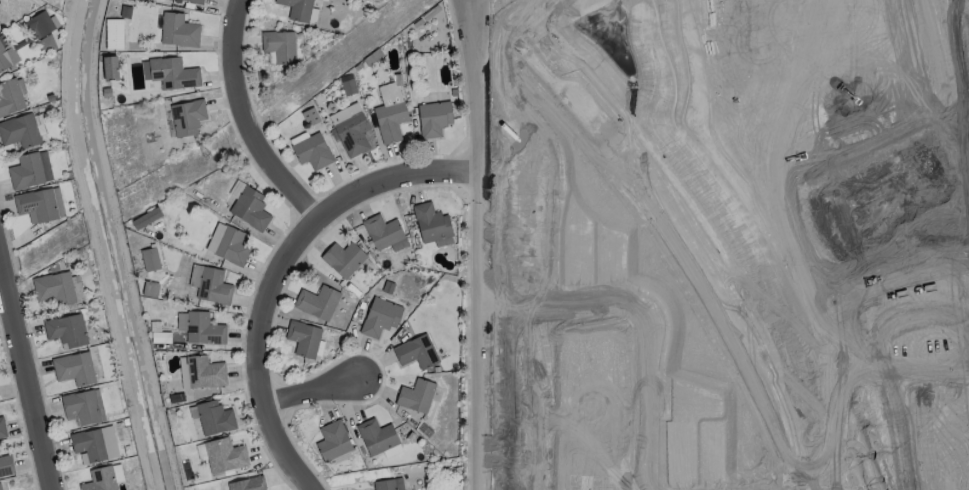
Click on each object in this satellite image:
building: (197, 0)
building: (297, 9)
road: (507, 12)
road: (521, 13)
building: (41, 24)
building: (178, 30)
building: (113, 34)
building: (279, 45)
building: (2, 65)
building: (110, 67)
building: (169, 73)
building: (347, 84)
building: (9, 96)
building: (389, 113)
building: (0, 114)
building: (186, 117)
building: (433, 118)
road: (239, 121)
building: (39, 124)
building: (350, 129)
building: (19, 131)
building: (312, 151)
building: (30, 170)
park: (853, 203)
building: (39, 204)
building: (250, 208)
building: (145, 218)
building: (431, 222)
road: (690, 228)
road: (665, 232)
building: (384, 233)
building: (228, 244)
building: (343, 258)
building: (149, 259)
road: (279, 269)
building: (209, 284)
building: (53, 288)
building: (149, 289)
building: (316, 302)
building: (380, 317)
road: (638, 324)
building: (199, 328)
road: (478, 330)
building: (66, 331)
building: (160, 337)
building: (303, 338)
building: (416, 352)
building: (73, 368)
building: (204, 372)
road: (25, 380)
road: (305, 392)
building: (415, 395)
building: (214, 418)
building: (0, 434)
building: (376, 436)
building: (332, 441)
building: (95, 444)
building: (224, 455)
building: (6, 465)
building: (102, 478)
building: (245, 484)
building: (387, 484)

